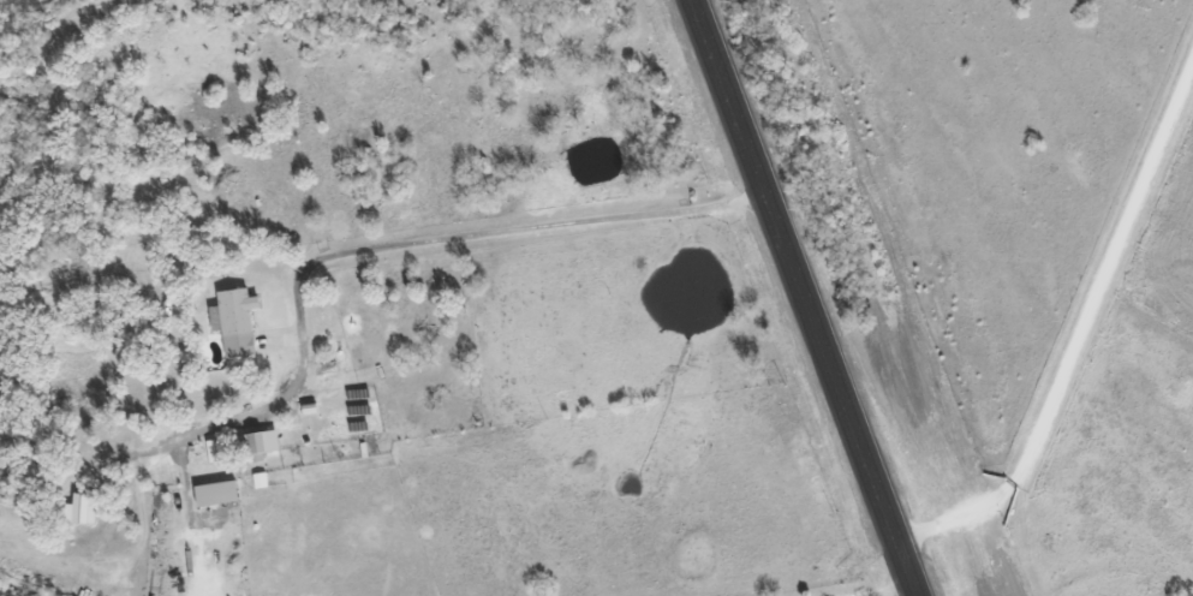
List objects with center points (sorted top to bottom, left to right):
road: (0, 0)
road: (803, 297)
road: (1078, 328)
building: (261, 442)
building: (817, 491)
building: (80, 508)

